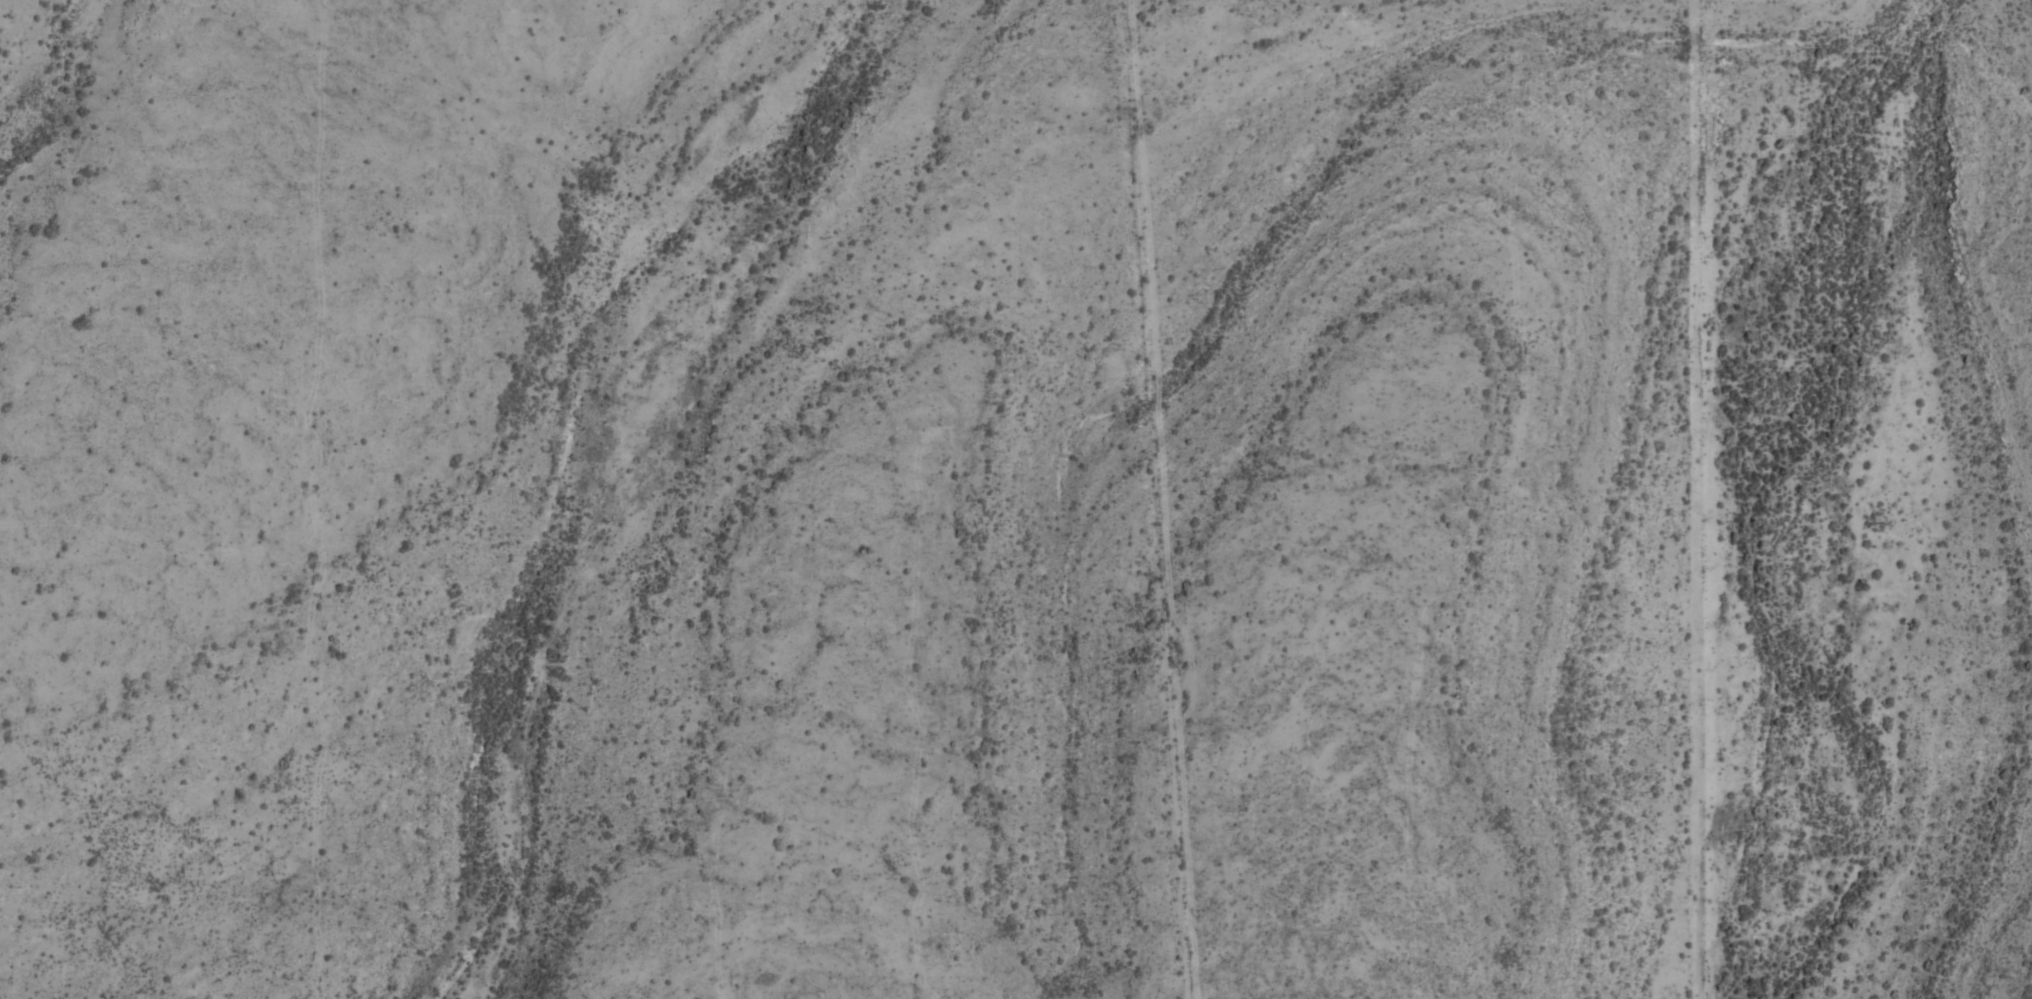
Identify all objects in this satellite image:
park: (1858, 497)

